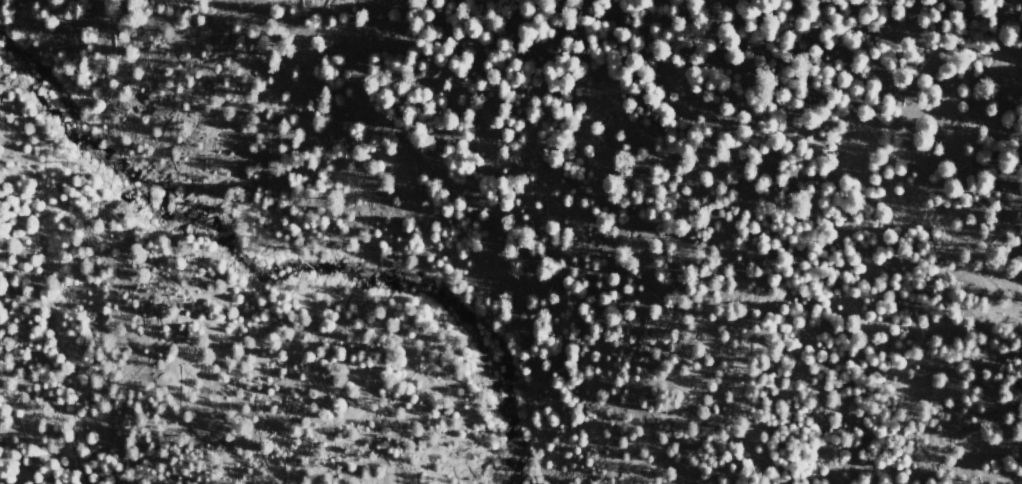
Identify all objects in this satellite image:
road: (897, 259)

